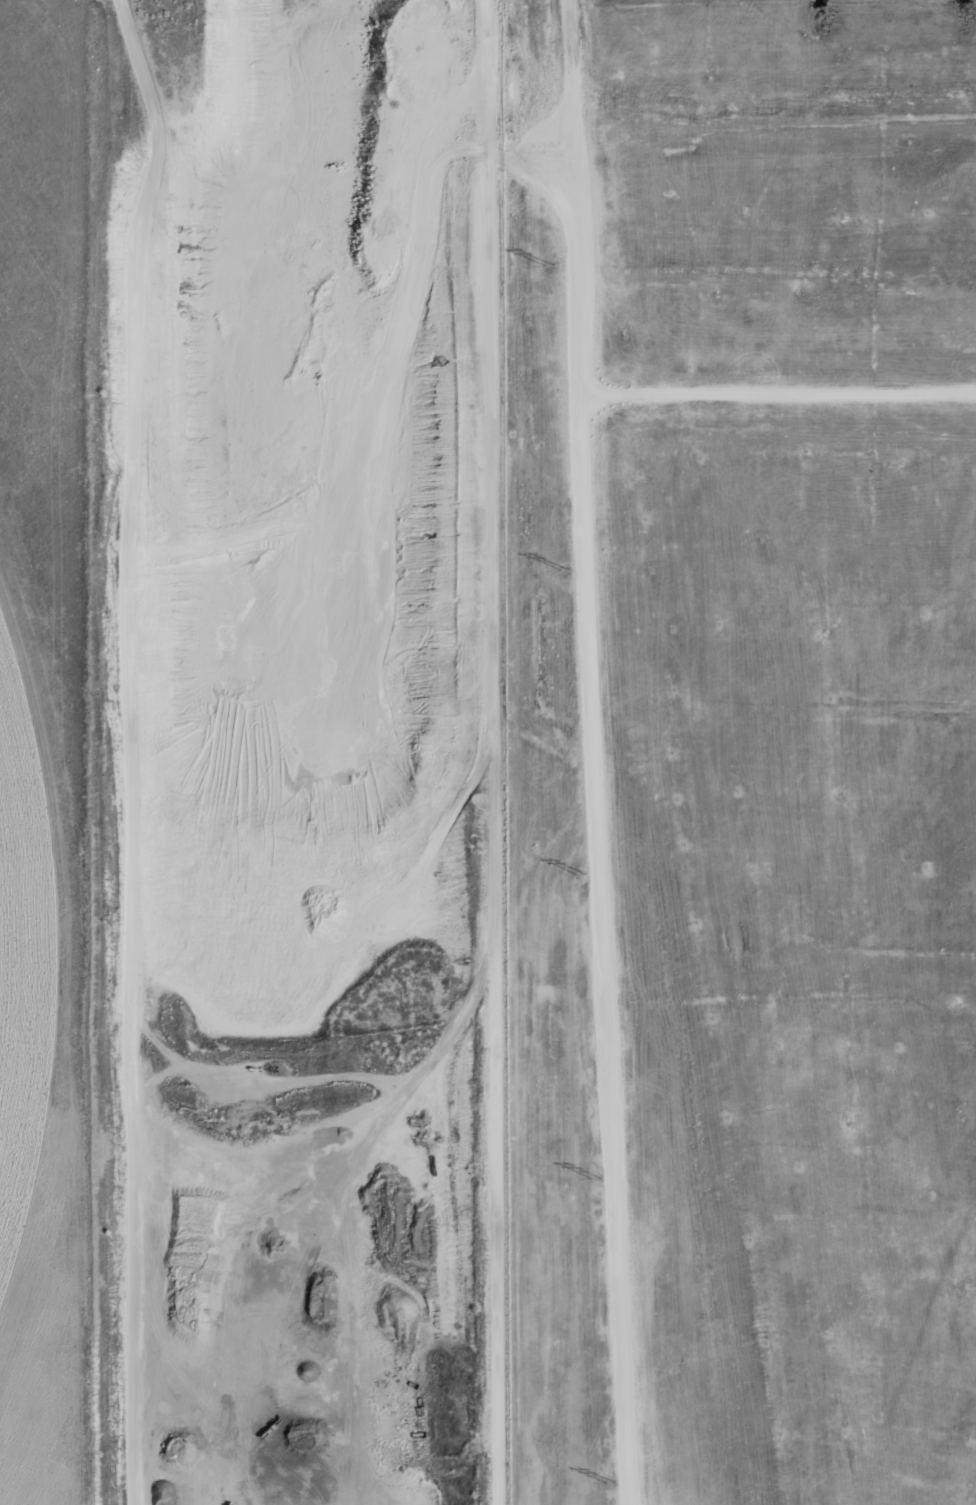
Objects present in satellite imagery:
road: (530, 165)
power tower: (550, 266)
road: (580, 393)
road: (488, 473)
road: (130, 502)
power tower: (565, 571)
landfill: (747, 752)
power tower: (581, 875)
road: (601, 949)
road: (371, 1077)
road: (155, 1078)
power tower: (596, 1179)
power tower: (611, 1484)

